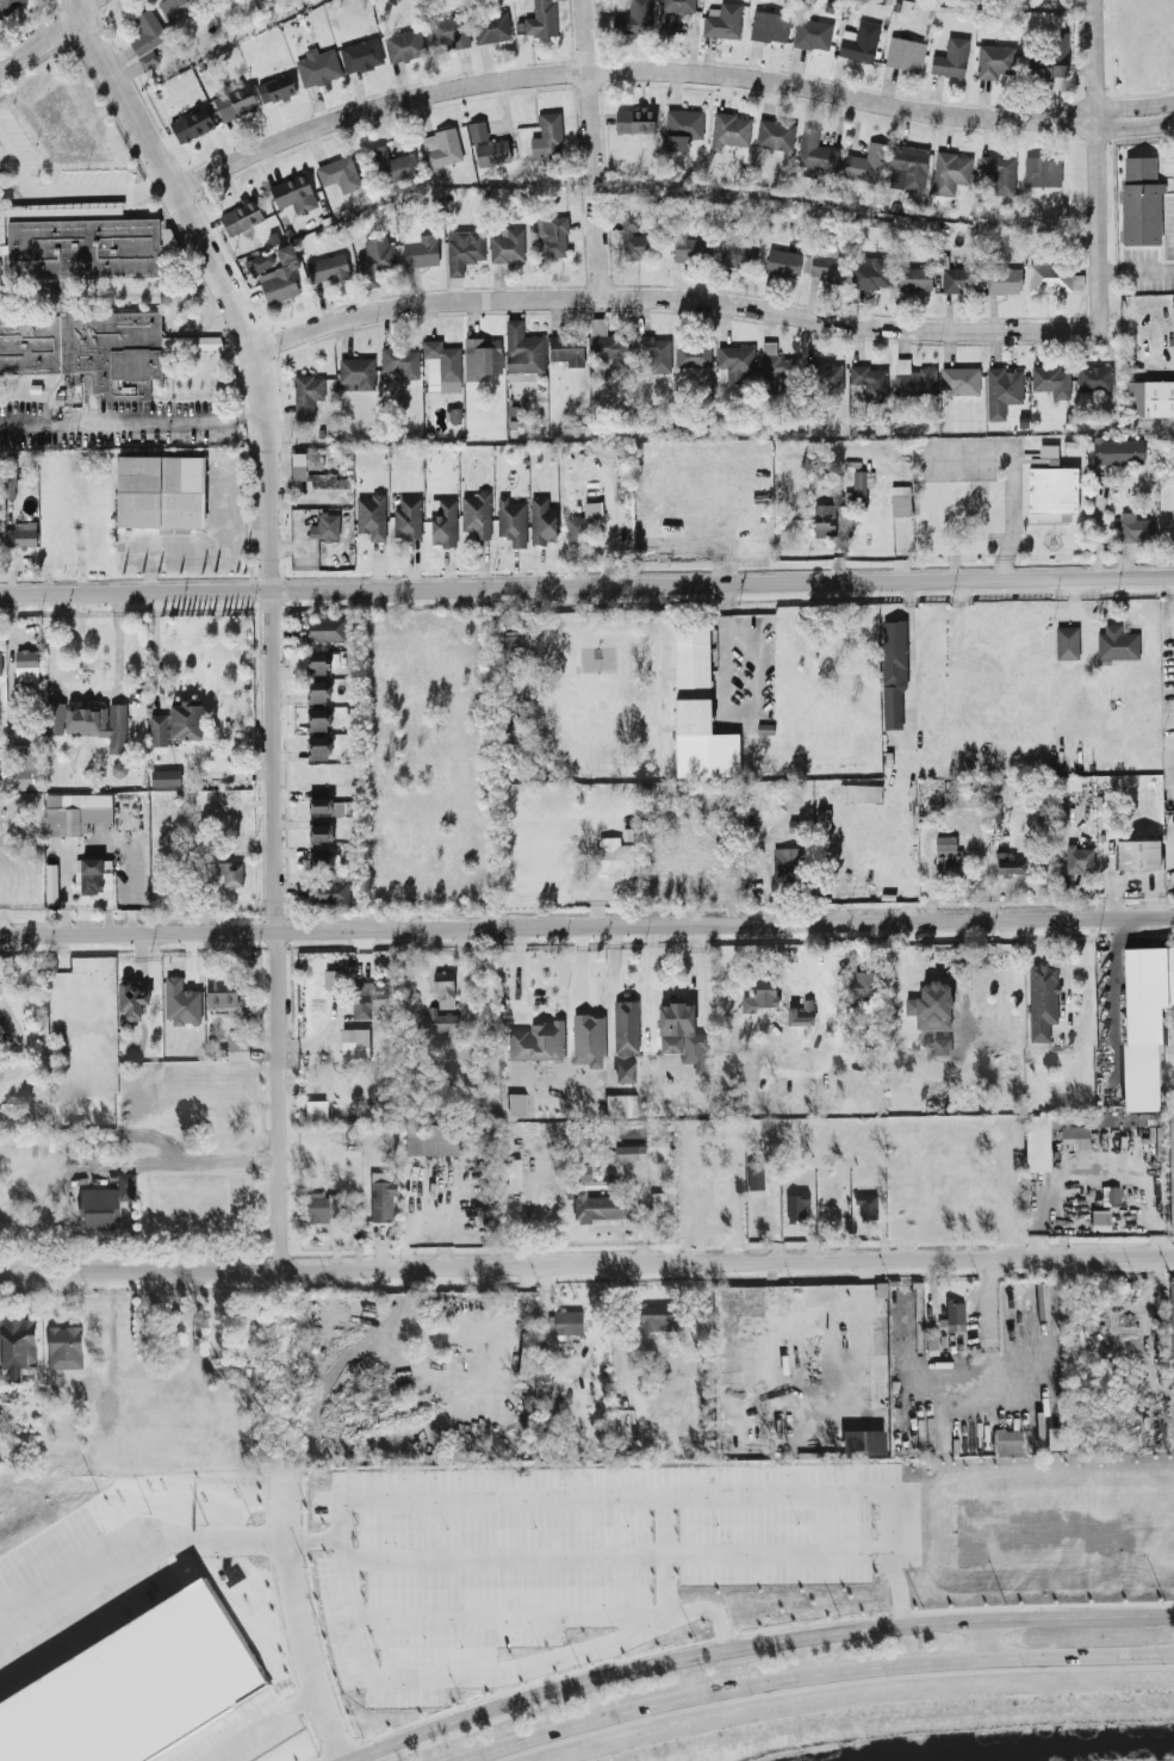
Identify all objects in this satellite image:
building: (212, 0)
building: (975, 0)
building: (7, 5)
building: (176, 7)
building: (671, 12)
building: (540, 18)
building: (634, 18)
building: (721, 19)
building: (769, 25)
building: (491, 26)
road: (46, 31)
building: (448, 31)
building: (810, 32)
building: (145, 37)
building: (858, 41)
building: (403, 44)
building: (905, 52)
road: (45, 54)
building: (360, 54)
building: (1052, 55)
building: (950, 57)
building: (994, 60)
building: (316, 66)
road: (663, 69)
building: (275, 87)
building: (235, 101)
building: (634, 118)
building: (190, 122)
building: (681, 126)
building: (728, 129)
building: (774, 134)
building: (546, 136)
building: (485, 144)
building: (441, 147)
road: (588, 148)
building: (814, 151)
building: (864, 162)
building: (393, 163)
road: (1093, 163)
building: (907, 166)
building: (1041, 169)
building: (949, 170)
building: (998, 170)
building: (337, 173)
building: (293, 193)
road: (70, 194)
building: (1139, 199)
building: (240, 216)
building: (632, 235)
building: (551, 236)
building: (507, 243)
building: (737, 247)
building: (420, 248)
building: (462, 248)
building: (690, 248)
building: (374, 258)
building: (259, 261)
building: (782, 261)
building: (327, 267)
building: (826, 267)
road: (1135, 271)
building: (869, 272)
building: (279, 275)
building: (913, 277)
building: (951, 277)
building: (1052, 277)
building: (1002, 279)
building: (62, 293)
road: (670, 296)
building: (206, 341)
building: (608, 347)
building: (566, 348)
building: (522, 351)
building: (653, 351)
building: (691, 353)
building: (480, 356)
road: (1162, 358)
building: (734, 360)
building: (775, 360)
building: (398, 362)
building: (440, 366)
building: (355, 372)
building: (824, 377)
building: (912, 378)
building: (1095, 378)
building: (958, 379)
building: (1050, 379)
building: (869, 380)
building: (1000, 390)
building: (305, 393)
building: (1150, 398)
road: (132, 424)
building: (1117, 449)
building: (1046, 453)
building: (310, 469)
building: (859, 484)
building: (160, 491)
building: (1051, 491)
building: (899, 498)
building: (476, 513)
building: (371, 514)
building: (406, 517)
building: (822, 519)
building: (511, 520)
building: (541, 520)
building: (442, 521)
building: (580, 521)
road: (1097, 523)
building: (324, 526)
building: (1135, 526)
road: (246, 534)
road: (220, 546)
road: (586, 583)
road: (721, 608)
road: (273, 613)
building: (325, 627)
building: (511, 641)
building: (1066, 641)
building: (1116, 643)
road: (909, 659)
building: (317, 662)
building: (25, 663)
building: (0, 665)
building: (893, 672)
building: (316, 690)
building: (55, 709)
building: (696, 709)
road: (756, 711)
building: (317, 718)
building: (185, 719)
building: (98, 721)
building: (157, 728)
building: (317, 746)
building: (24, 765)
building: (164, 776)
building: (858, 790)
building: (318, 804)
building: (338, 806)
building: (72, 811)
building: (821, 818)
building: (321, 830)
road: (104, 831)
building: (945, 852)
building: (1137, 852)
building: (321, 854)
building: (613, 856)
building: (1077, 858)
building: (1007, 862)
building: (783, 863)
building: (229, 872)
building: (92, 875)
road: (4, 881)
building: (49, 882)
building: (328, 888)
road: (586, 924)
building: (331, 978)
building: (863, 981)
building: (445, 988)
building: (220, 991)
building: (760, 994)
building: (367, 996)
building: (130, 998)
building: (1041, 999)
building: (180, 1000)
road: (609, 1002)
building: (799, 1012)
building: (439, 1021)
building: (1145, 1022)
building: (683, 1033)
building: (588, 1040)
building: (626, 1041)
building: (536, 1042)
building: (353, 1043)
building: (236, 1044)
building: (518, 1105)
building: (617, 1106)
building: (317, 1110)
building: (1111, 1122)
building: (1076, 1139)
building: (436, 1141)
building: (631, 1154)
building: (1172, 1162)
road: (1098, 1172)
building: (516, 1176)
building: (757, 1176)
building: (384, 1198)
building: (659, 1203)
building: (107, 1204)
building: (602, 1208)
building: (799, 1208)
building: (869, 1208)
building: (323, 1209)
building: (1102, 1222)
road: (727, 1263)
road: (141, 1272)
building: (957, 1313)
building: (1173, 1316)
building: (659, 1320)
building: (570, 1323)
building: (880, 1335)
building: (18, 1344)
building: (66, 1348)
road: (934, 1399)
building: (1010, 1445)
road: (524, 1499)
road: (131, 1540)
road: (666, 1560)
road: (807, 1639)
road: (983, 1639)
road: (496, 1676)
road: (818, 1678)
building: (136, 1691)
road: (261, 1725)
road: (403, 1743)

